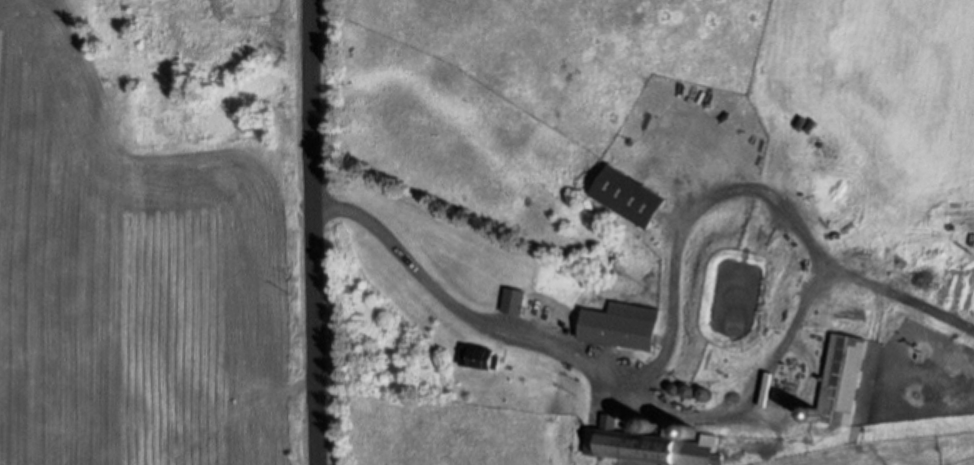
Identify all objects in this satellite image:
building: (635, 200)
road: (316, 232)
building: (517, 303)
building: (625, 328)
building: (484, 359)
building: (843, 383)
building: (786, 399)
building: (654, 445)

